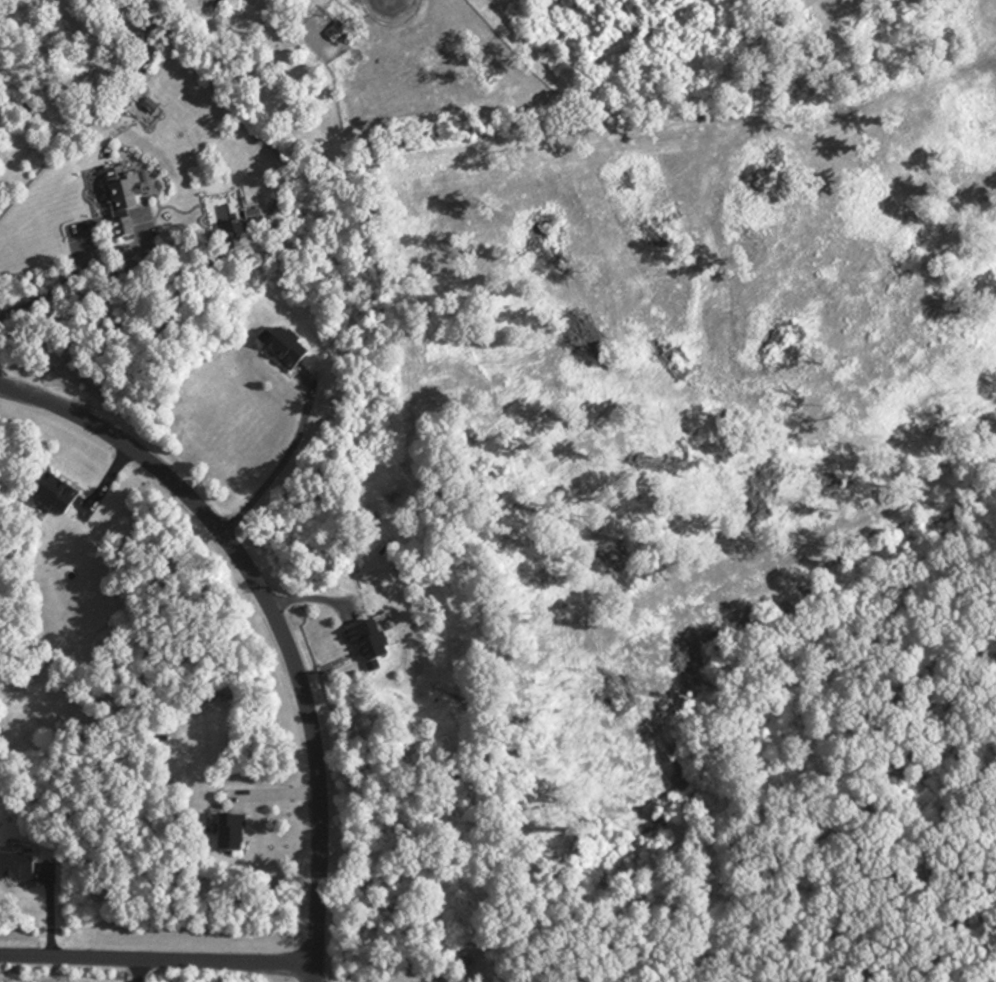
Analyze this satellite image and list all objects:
building: (231, 5)
building: (121, 200)
road: (51, 274)
building: (285, 348)
road: (281, 465)
building: (54, 494)
road: (273, 618)
building: (368, 642)
building: (230, 835)
building: (16, 868)
road: (157, 959)
road: (138, 970)

